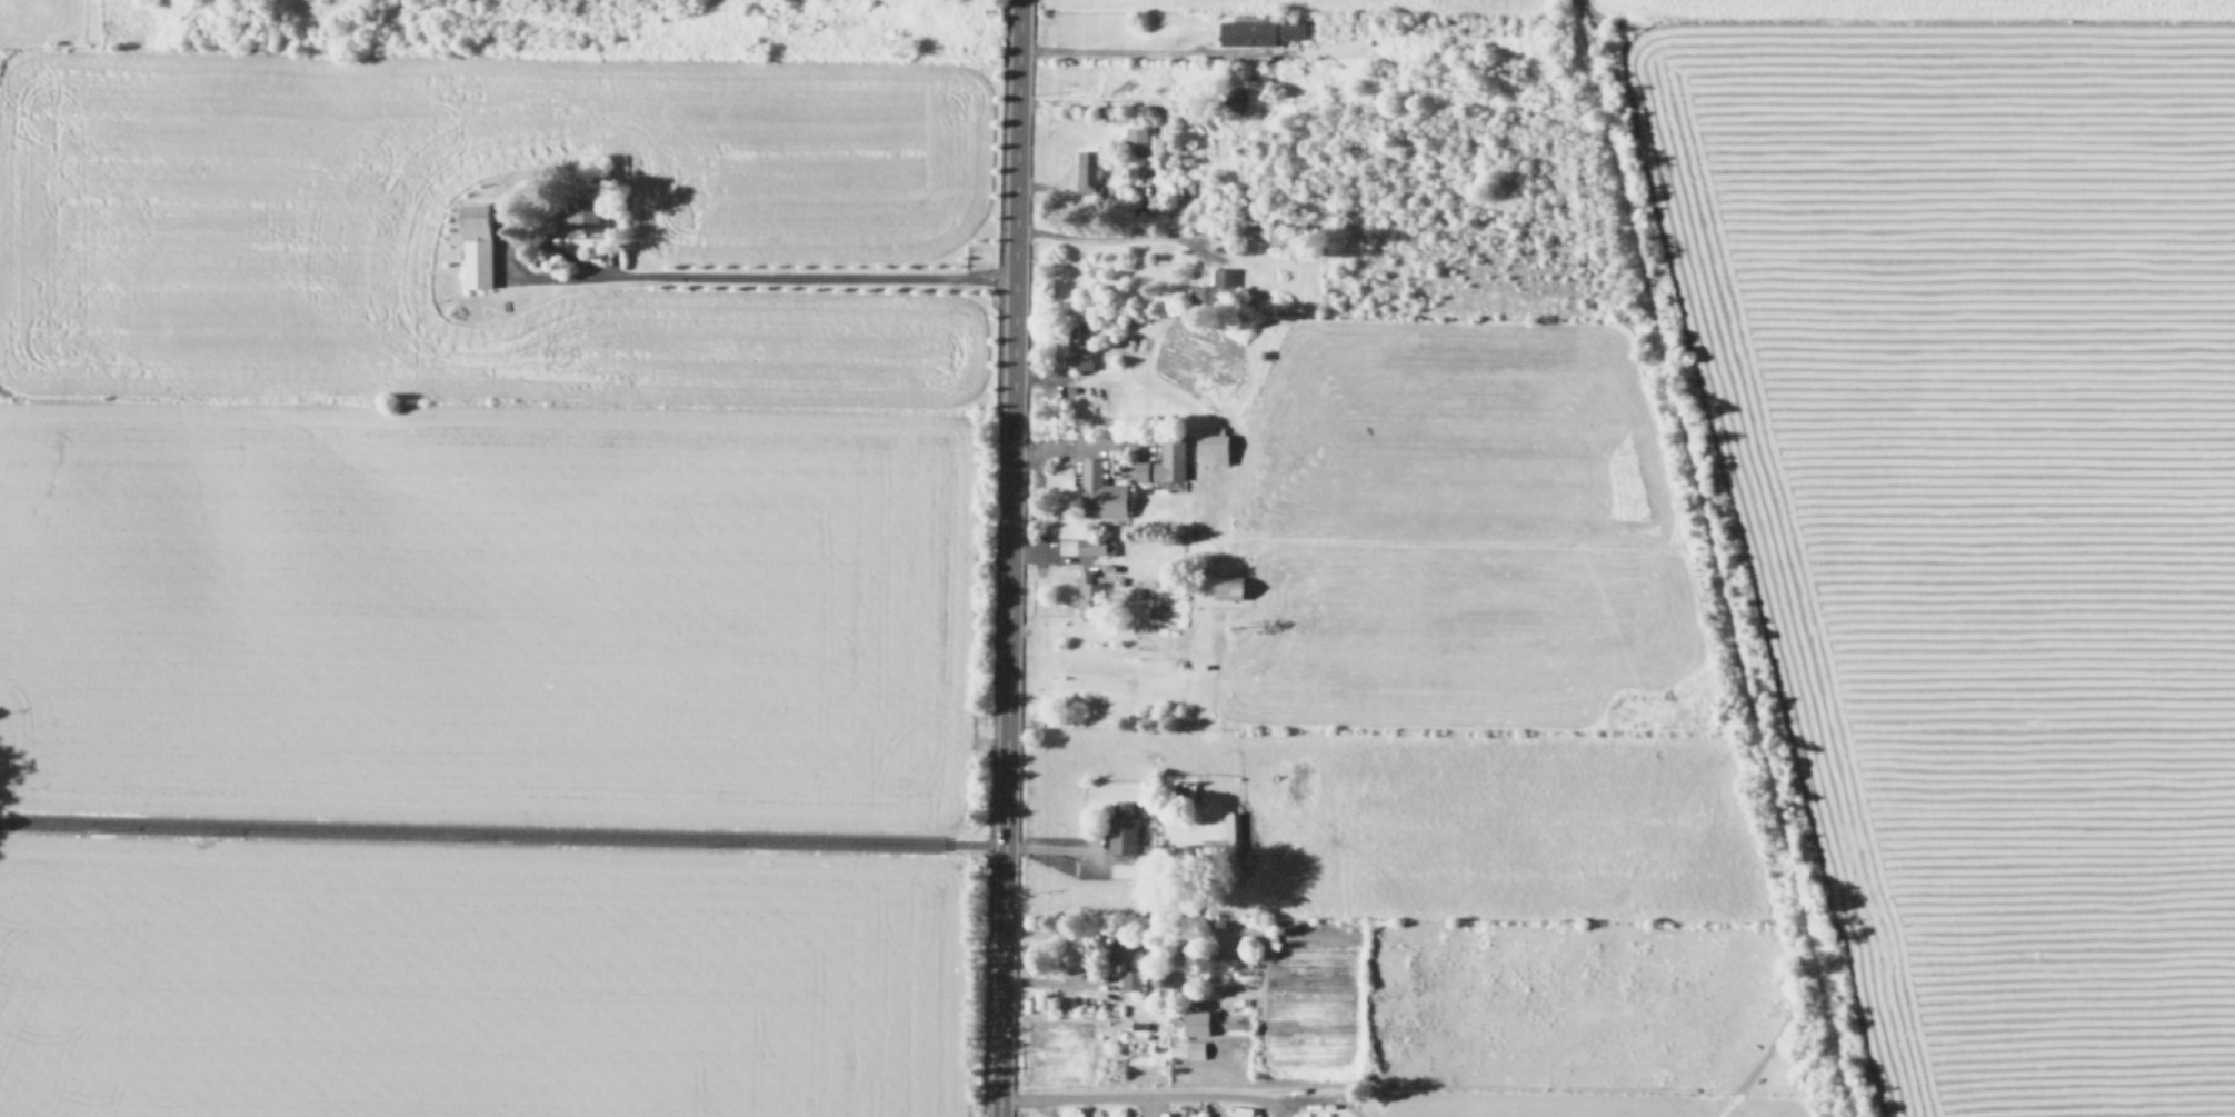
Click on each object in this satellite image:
building: (962, 1)
building: (1293, 29)
building: (1246, 32)
road: (1124, 48)
road: (1105, 103)
building: (1237, 103)
building: (1135, 140)
building: (1086, 171)
building: (577, 216)
road: (1109, 235)
building: (1284, 236)
building: (472, 246)
road: (759, 276)
building: (1215, 290)
building: (1077, 350)
building: (1214, 449)
building: (1165, 461)
building: (1101, 492)
building: (1087, 547)
crop: (475, 556)
road: (1009, 558)
building: (1231, 587)
building: (1089, 596)
crop: (1772, 609)
building: (1186, 795)
road: (501, 831)
building: (1231, 837)
building: (1117, 845)
road: (1051, 846)
building: (1126, 963)
building: (1198, 1023)
building: (1195, 1050)
road: (1143, 1099)

